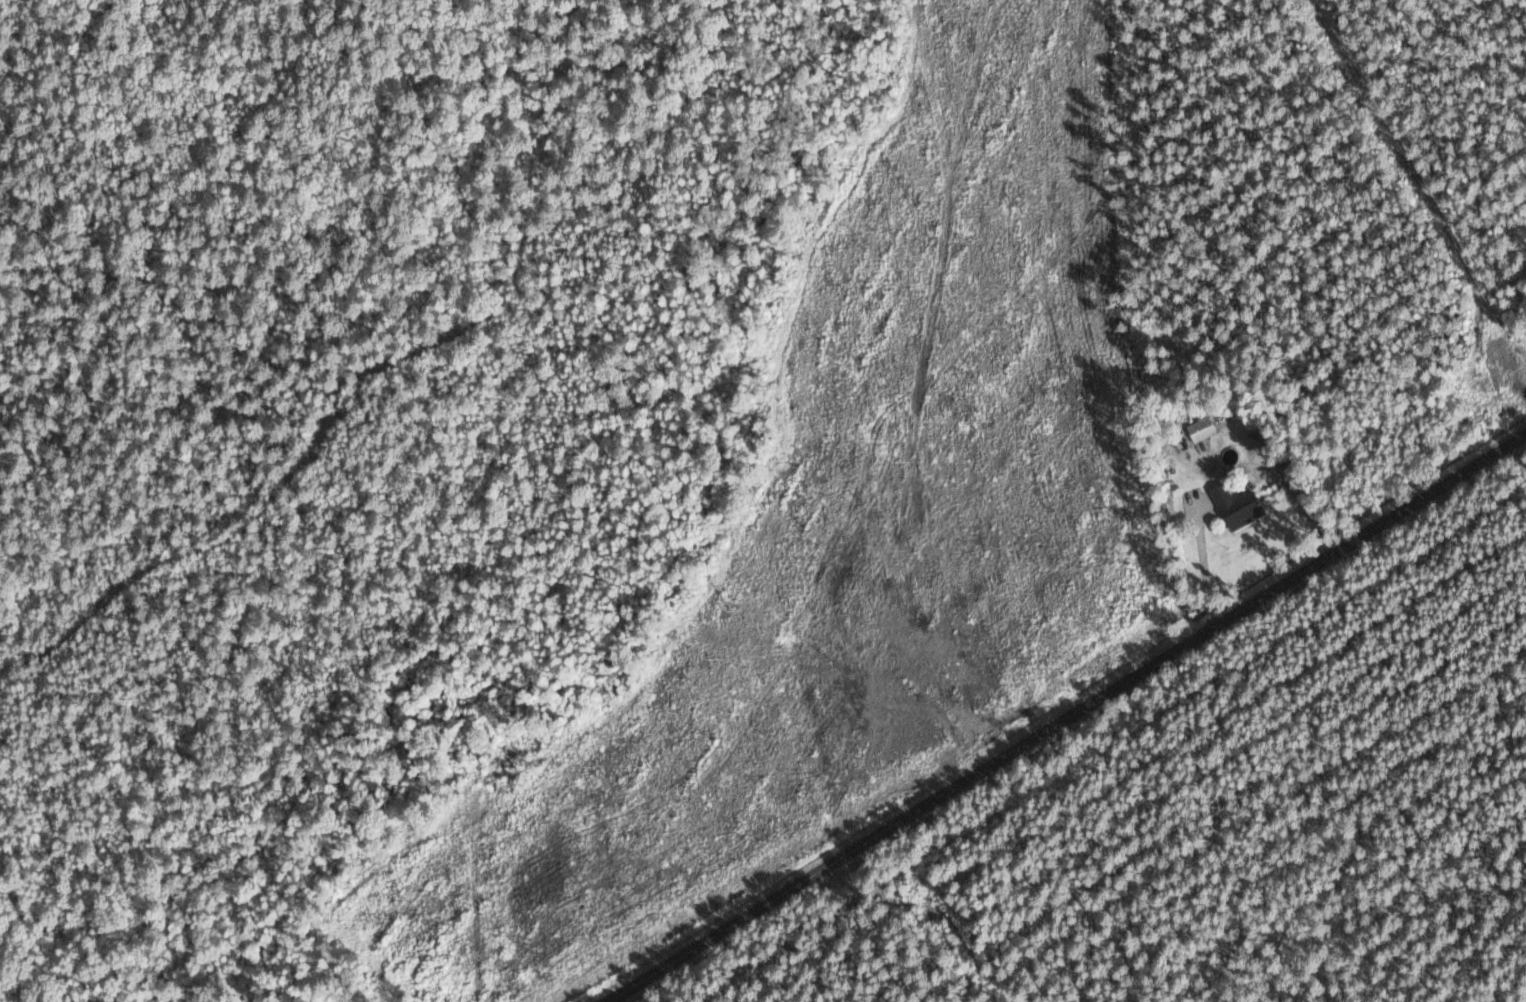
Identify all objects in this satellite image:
building: (1201, 428)
building: (1237, 506)
road: (1070, 718)

